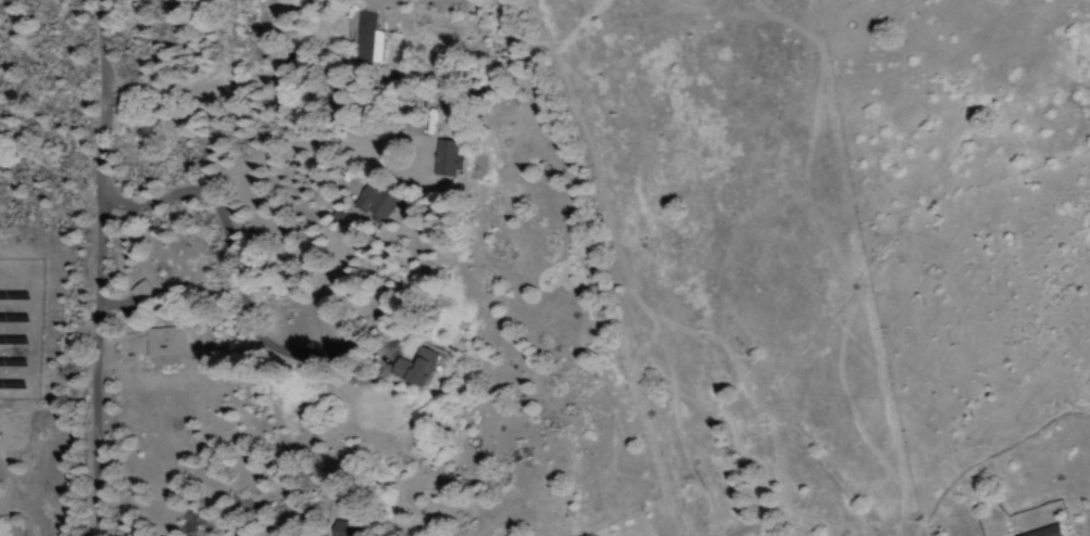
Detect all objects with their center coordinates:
building: (364, 38)
building: (444, 159)
building: (373, 204)
road: (628, 237)
road: (204, 248)
road: (101, 268)
building: (139, 293)
building: (163, 343)
building: (413, 369)
building: (340, 528)
building: (1044, 532)

